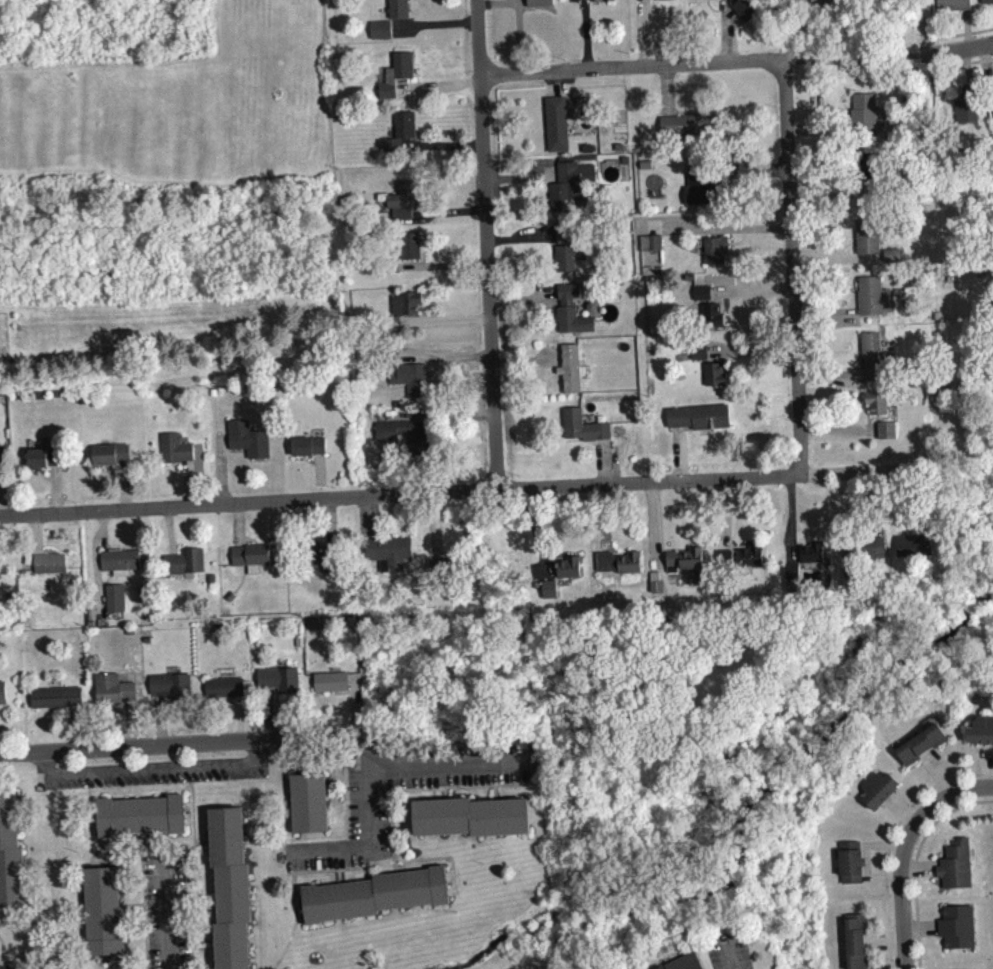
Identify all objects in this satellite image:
building: (514, 0)
building: (667, 2)
building: (709, 2)
building: (605, 4)
building: (542, 6)
building: (398, 7)
building: (954, 8)
building: (747, 15)
road: (433, 21)
building: (379, 27)
building: (383, 36)
road: (893, 54)
road: (956, 56)
road: (858, 59)
road: (816, 60)
road: (631, 65)
building: (394, 72)
building: (992, 91)
building: (967, 112)
building: (866, 117)
building: (558, 130)
building: (690, 131)
building: (396, 133)
building: (868, 170)
building: (701, 190)
building: (572, 192)
building: (402, 198)
building: (564, 237)
building: (408, 243)
road: (485, 243)
building: (869, 243)
building: (652, 249)
building: (717, 256)
building: (894, 261)
building: (387, 263)
building: (570, 263)
road: (792, 266)
building: (704, 299)
building: (405, 302)
building: (876, 303)
building: (573, 317)
road: (443, 318)
building: (713, 321)
building: (387, 322)
road: (442, 356)
building: (385, 358)
building: (700, 358)
building: (875, 362)
building: (572, 375)
building: (410, 377)
building: (717, 381)
building: (878, 409)
building: (700, 423)
building: (585, 433)
building: (385, 434)
building: (247, 437)
building: (889, 437)
building: (306, 444)
building: (173, 446)
building: (109, 452)
building: (310, 452)
building: (2, 456)
building: (42, 456)
road: (456, 489)
building: (916, 552)
building: (392, 557)
building: (814, 559)
building: (864, 560)
building: (252, 561)
building: (50, 562)
building: (753, 562)
building: (322, 564)
building: (686, 566)
building: (122, 568)
building: (187, 568)
building: (620, 569)
building: (0, 572)
building: (571, 574)
building: (793, 577)
building: (657, 588)
building: (551, 596)
building: (117, 604)
building: (281, 686)
building: (333, 688)
building: (173, 692)
building: (226, 694)
building: (115, 696)
building: (4, 699)
building: (58, 704)
building: (982, 737)
road: (180, 744)
building: (923, 751)
road: (452, 766)
parking lot: (151, 772)
road: (345, 772)
road: (429, 788)
road: (368, 790)
road: (495, 791)
road: (445, 792)
road: (433, 793)
road: (337, 795)
building: (881, 795)
road: (188, 801)
building: (309, 801)
building: (141, 814)
parking lot: (369, 815)
building: (471, 815)
road: (346, 816)
road: (192, 820)
road: (189, 821)
road: (95, 824)
road: (148, 842)
road: (902, 849)
road: (140, 852)
road: (328, 852)
building: (11, 853)
road: (448, 856)
road: (110, 859)
road: (90, 860)
road: (333, 868)
building: (853, 869)
building: (957, 871)
road: (451, 872)
road: (340, 874)
building: (232, 888)
building: (377, 893)
road: (203, 894)
road: (299, 894)
road: (131, 902)
road: (189, 903)
building: (102, 909)
parking lot: (167, 910)
road: (168, 912)
road: (302, 912)
building: (959, 933)
road: (287, 943)
building: (857, 945)
road: (204, 947)
road: (732, 952)
road: (0, 954)
road: (113, 961)
road: (98, 962)
building: (689, 965)

